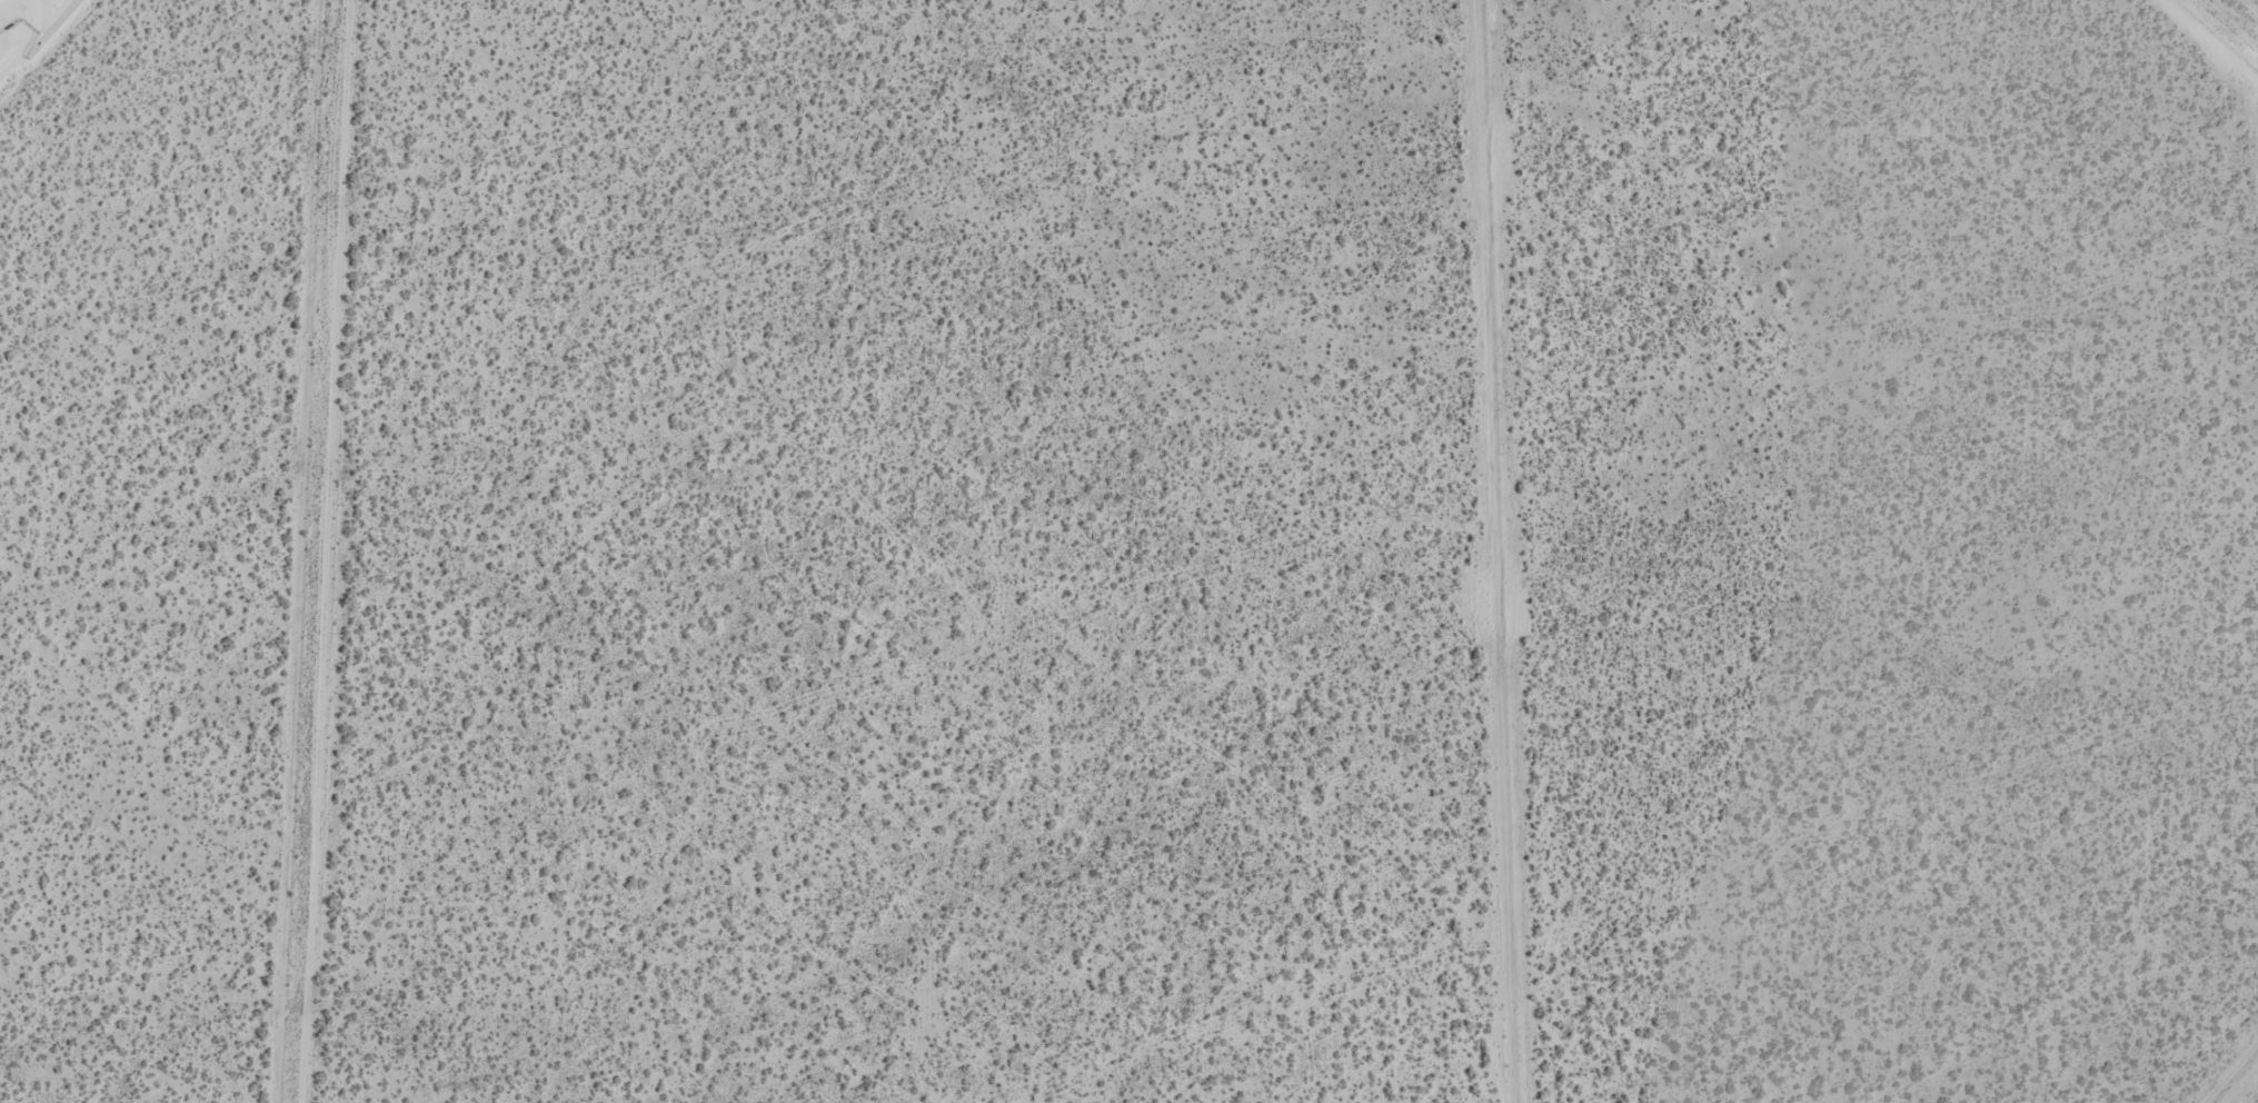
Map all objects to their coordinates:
road: (18, 38)

